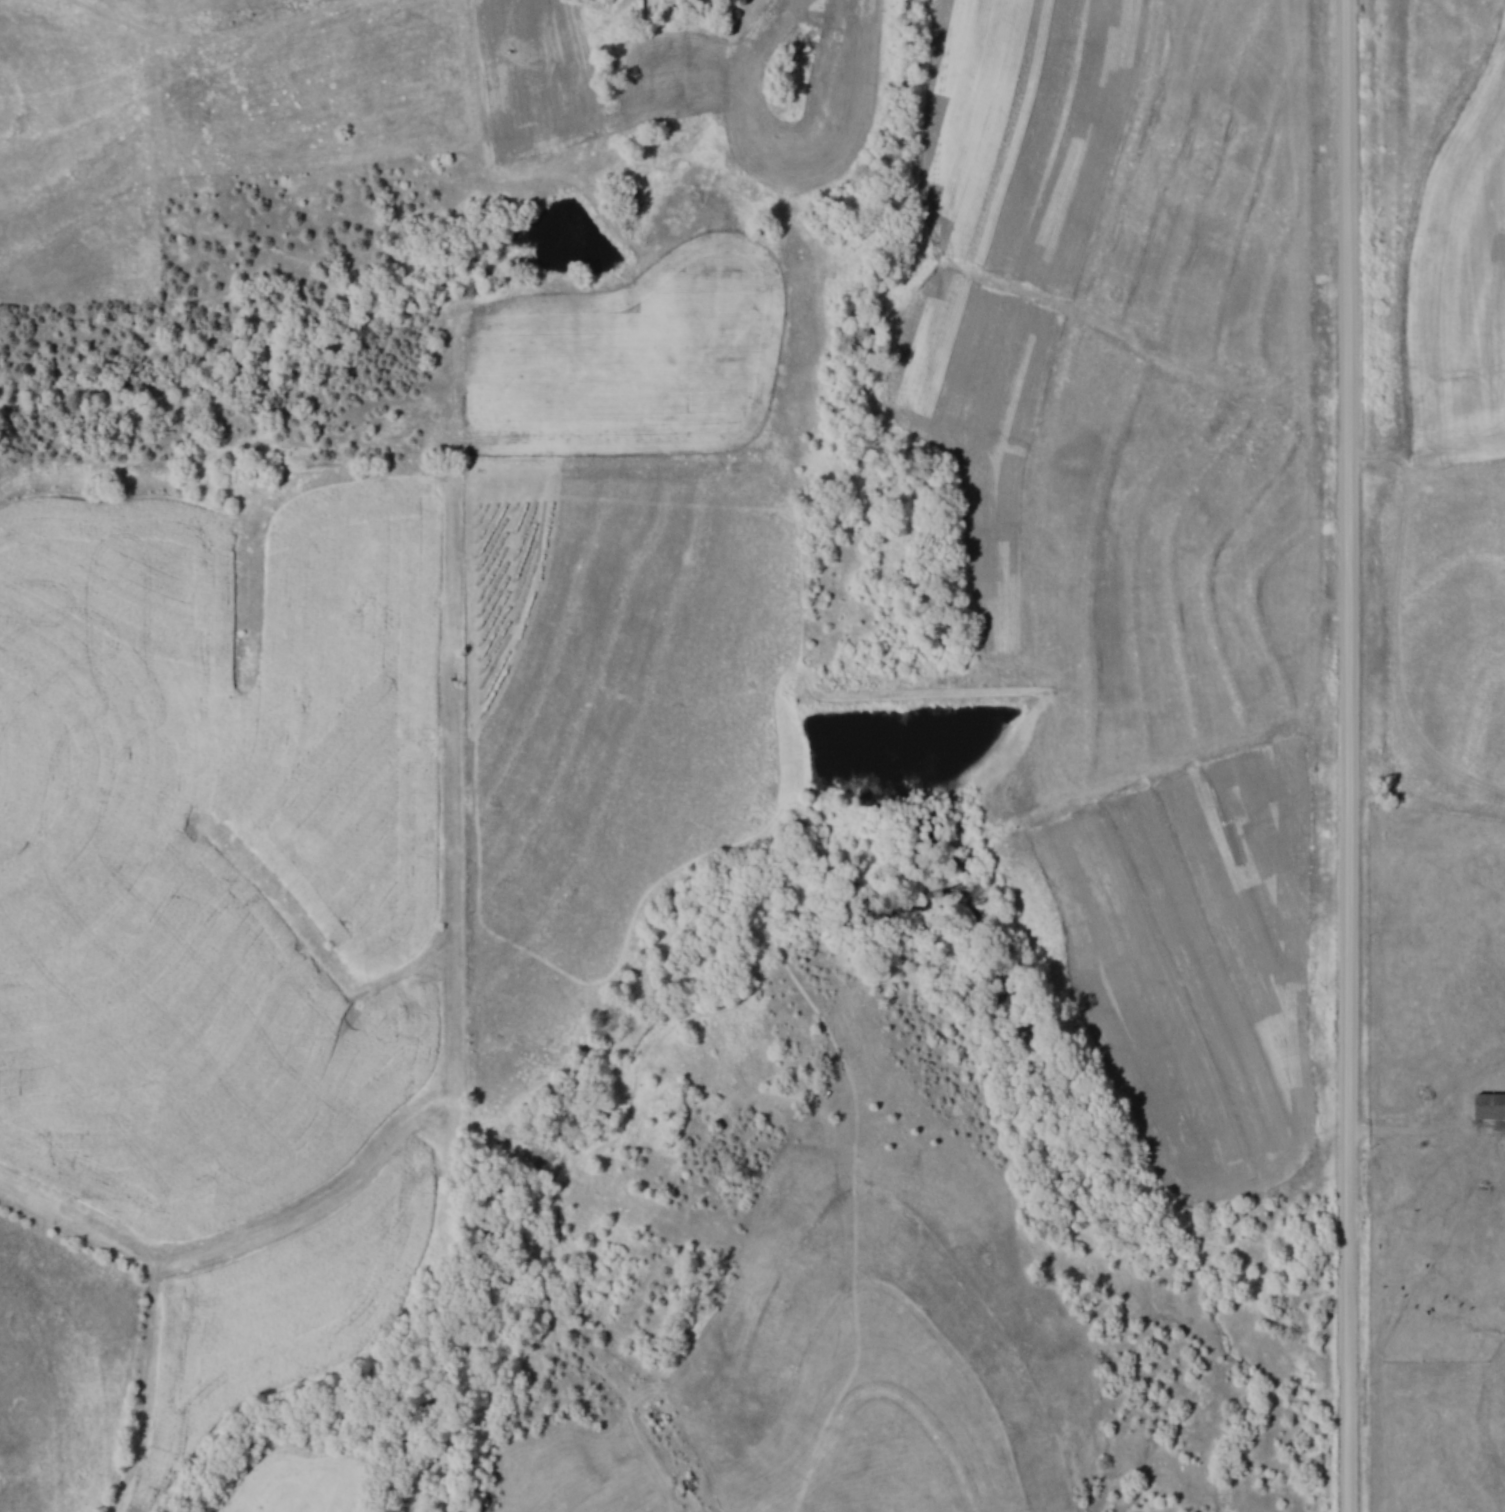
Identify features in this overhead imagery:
road: (1349, 755)
building: (1492, 1107)
road: (1425, 1144)

